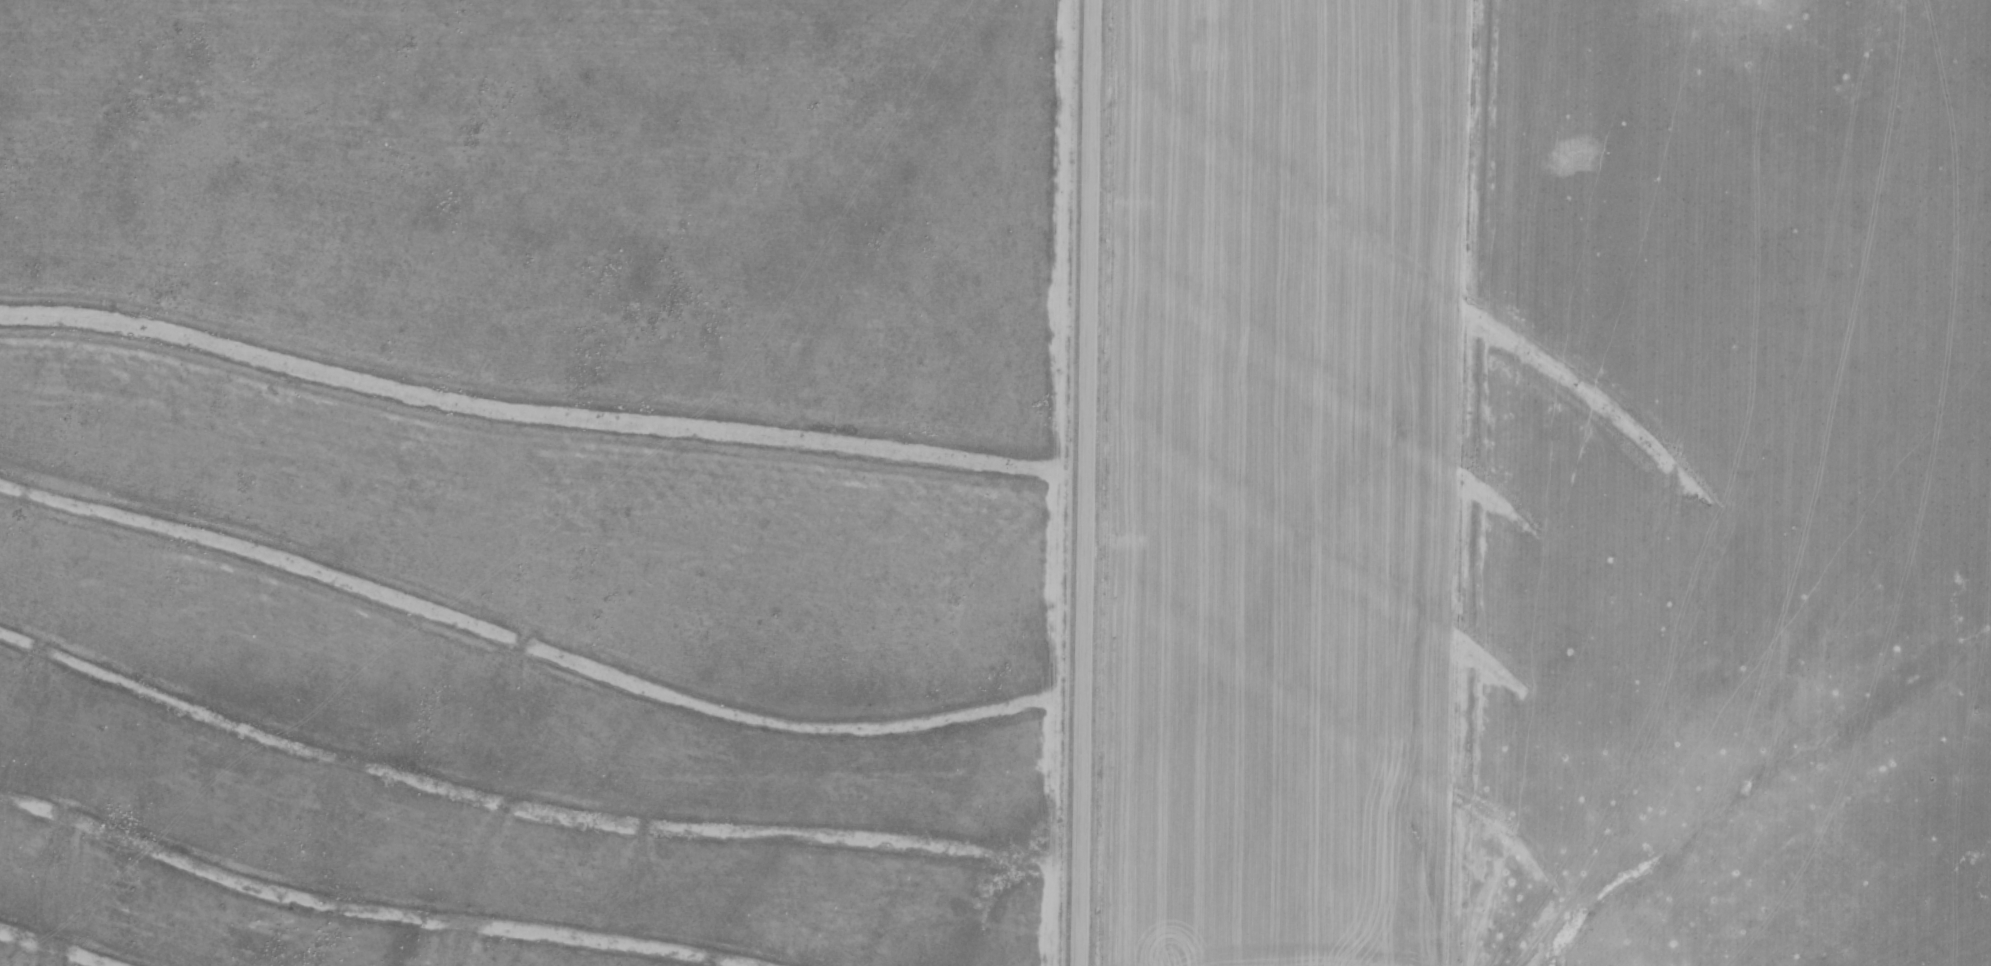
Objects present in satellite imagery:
road: (1086, 483)

